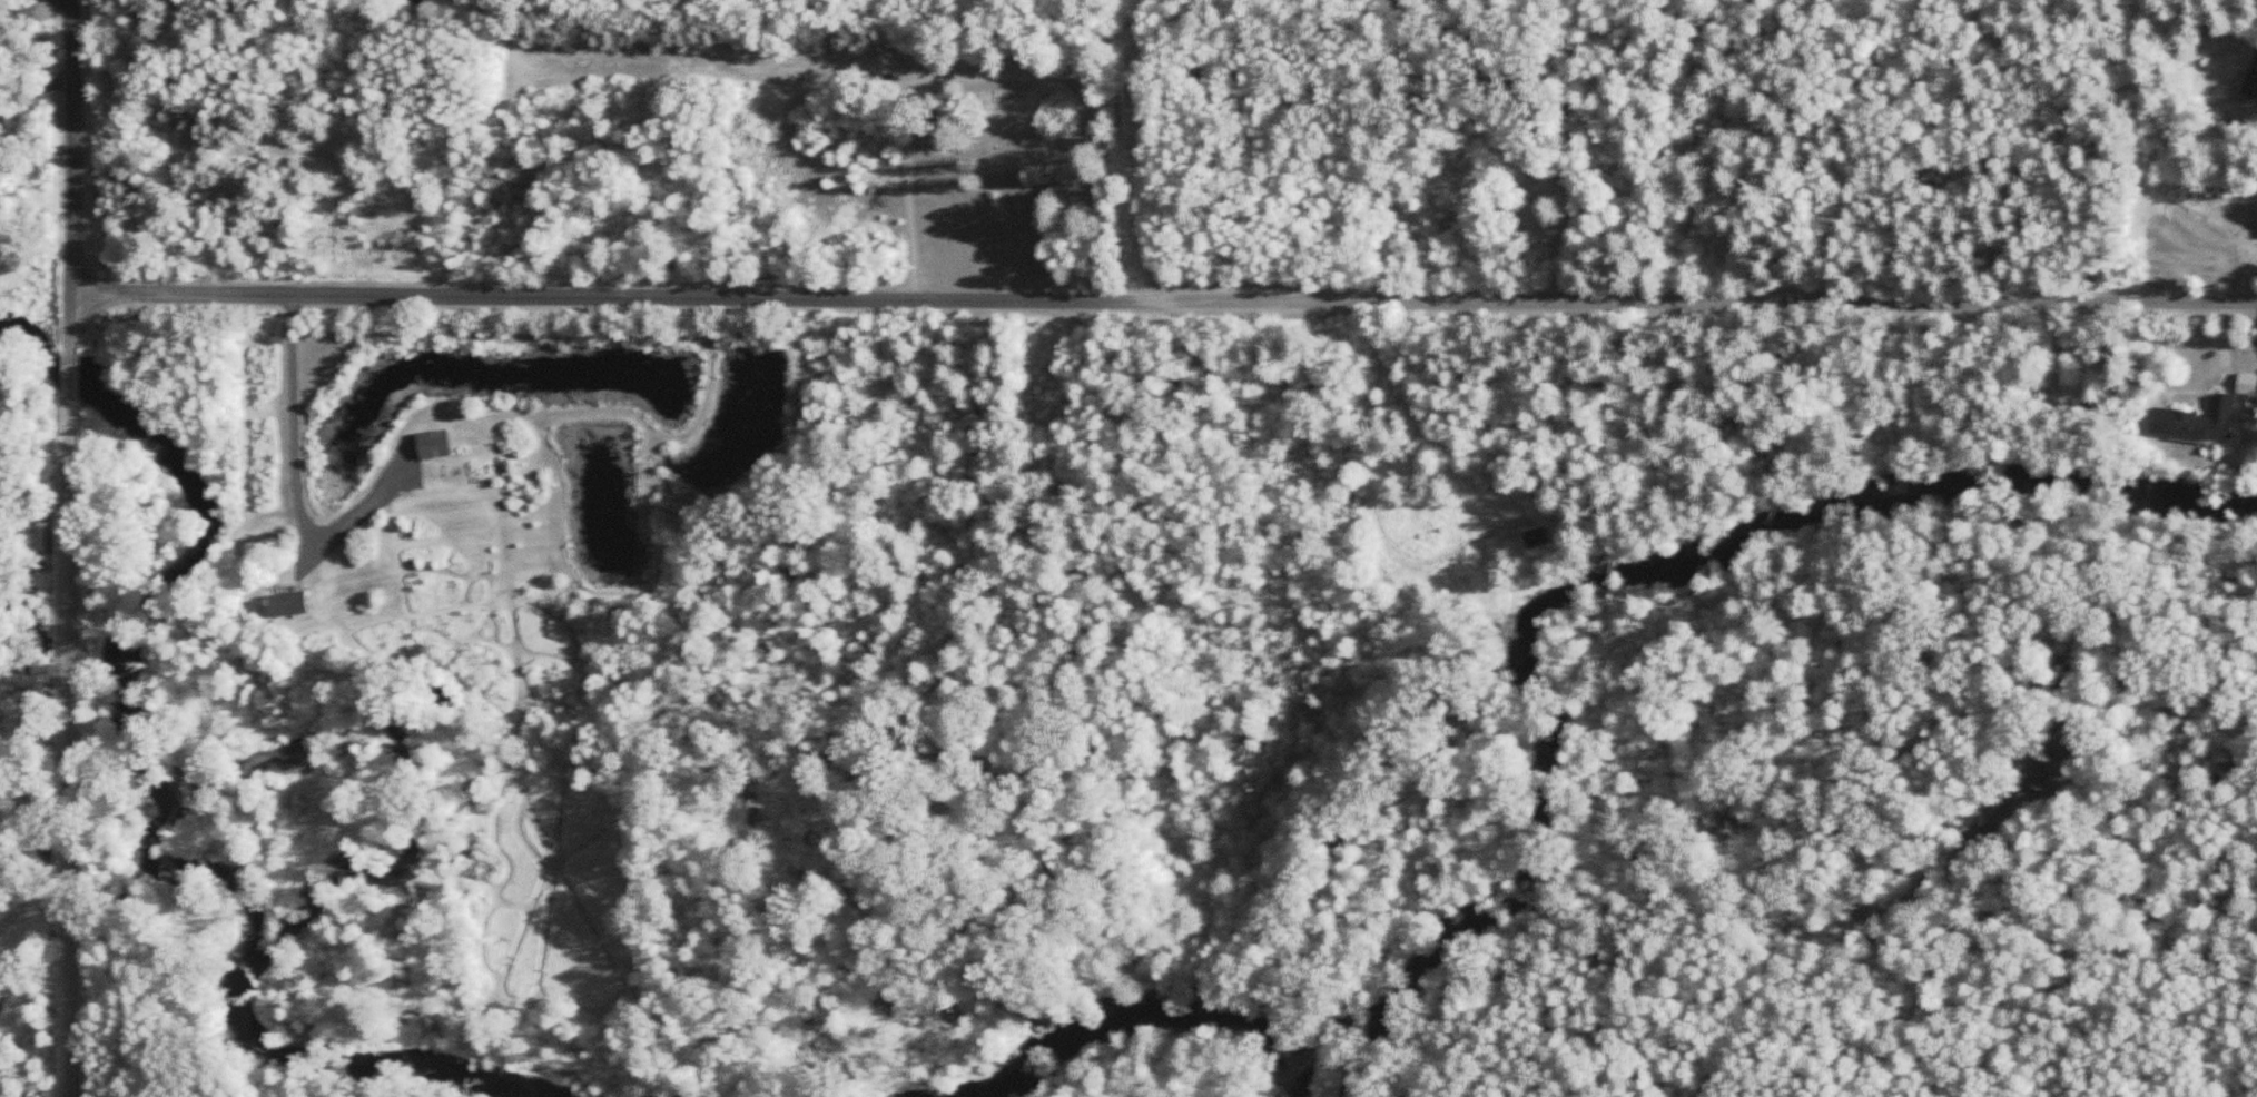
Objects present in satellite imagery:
road: (69, 1)
building: (2250, 79)
road: (73, 186)
road: (1165, 304)
road: (72, 405)
road: (292, 421)
building: (2198, 427)
building: (432, 446)
building: (1534, 538)
river: (1618, 570)
building: (284, 606)
road: (72, 768)
river: (185, 783)
river: (1155, 1017)

